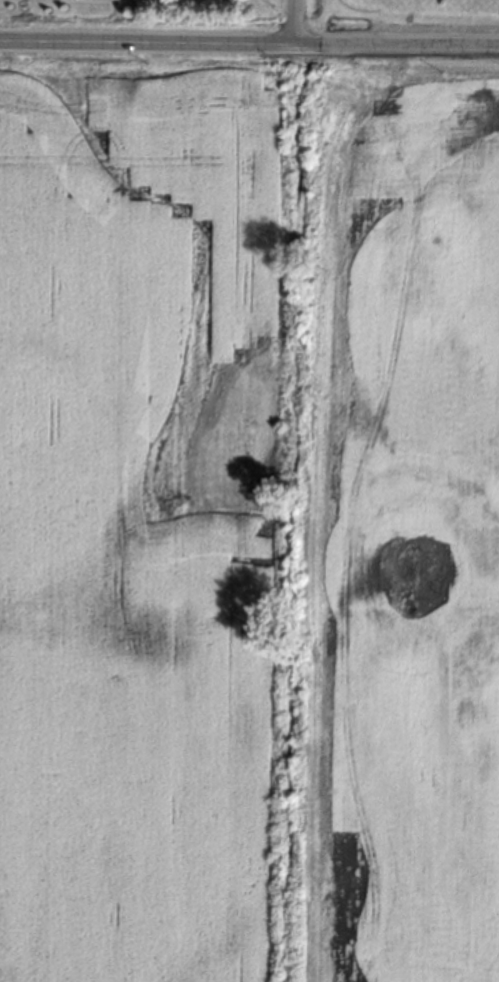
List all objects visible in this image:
road: (292, 24)
road: (249, 47)
crop: (249, 527)

